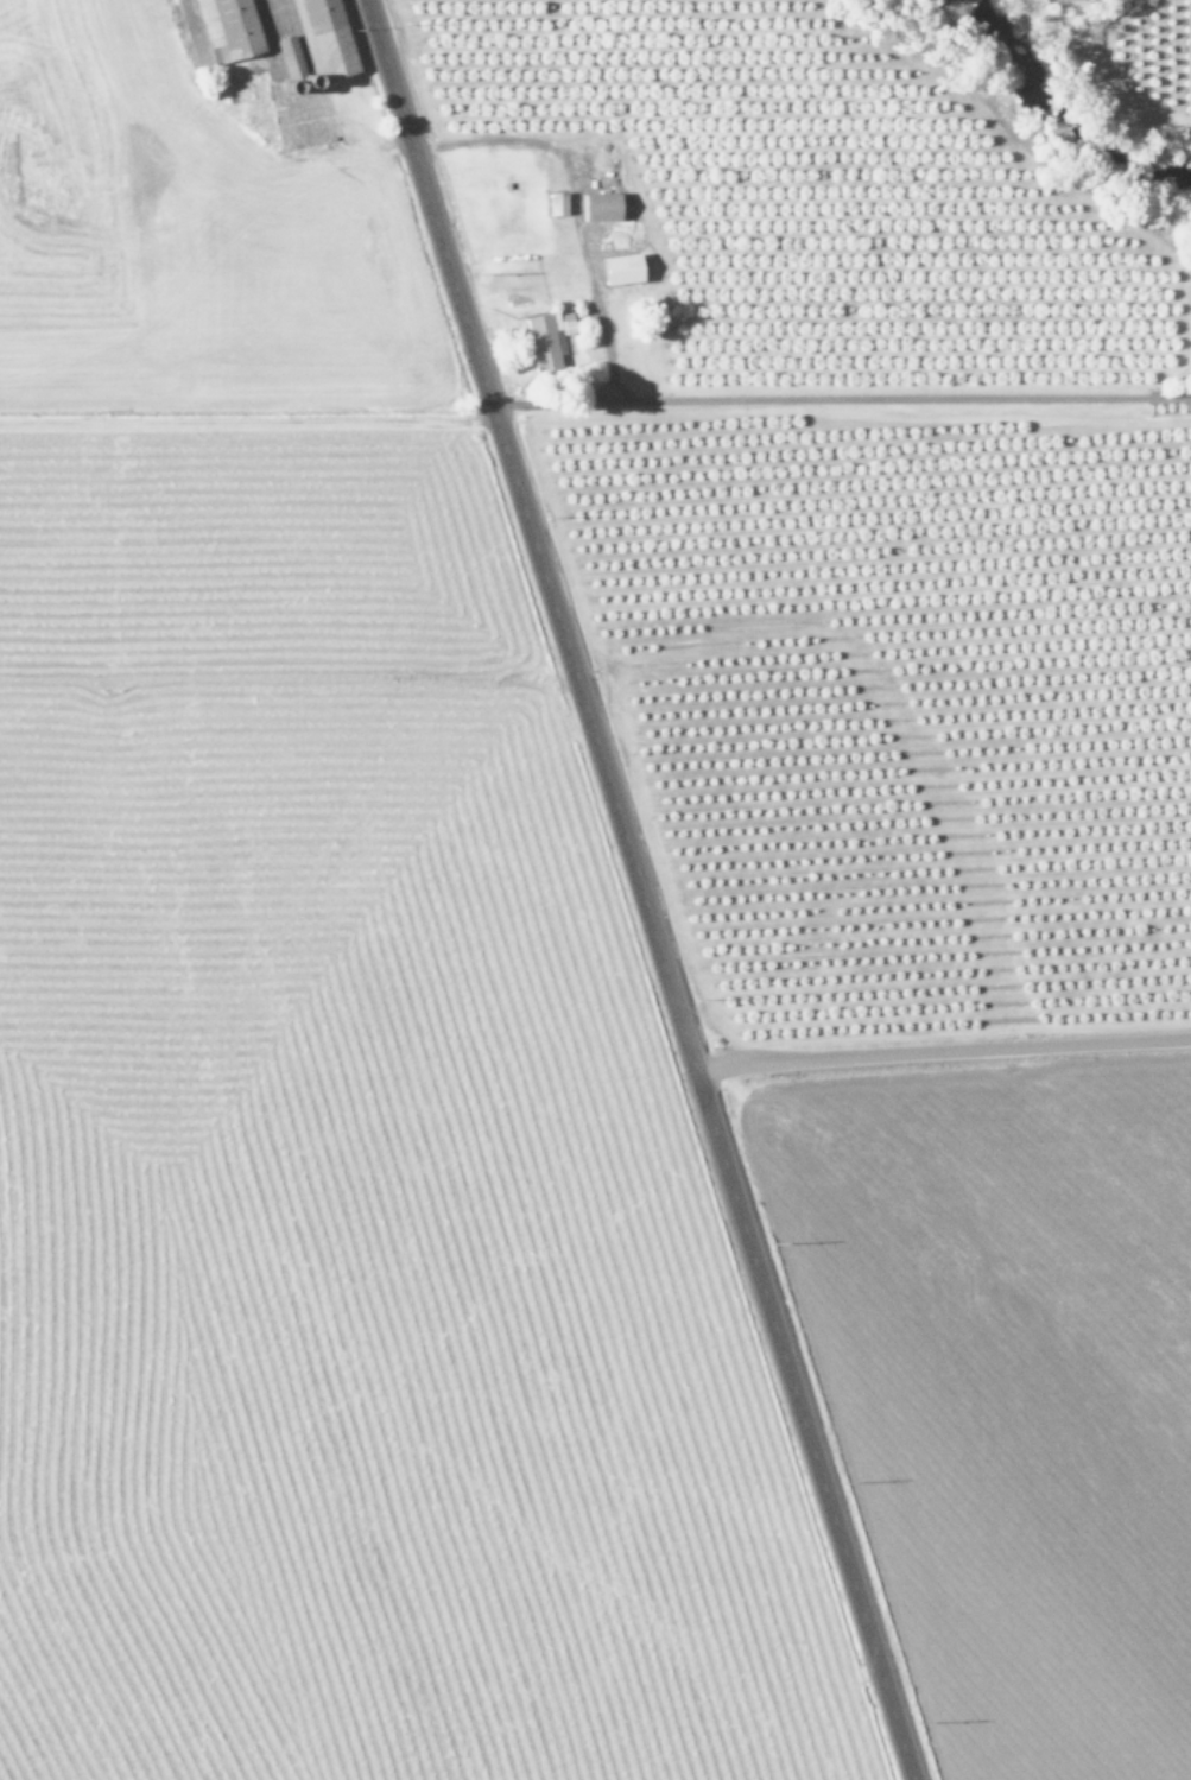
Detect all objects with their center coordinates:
crop: (1166, 20)
building: (226, 28)
building: (322, 36)
building: (289, 56)
building: (553, 203)
building: (597, 207)
building: (619, 268)
road: (528, 532)
crop: (904, 773)
crop: (311, 1025)
road: (940, 1053)
road: (799, 1423)

